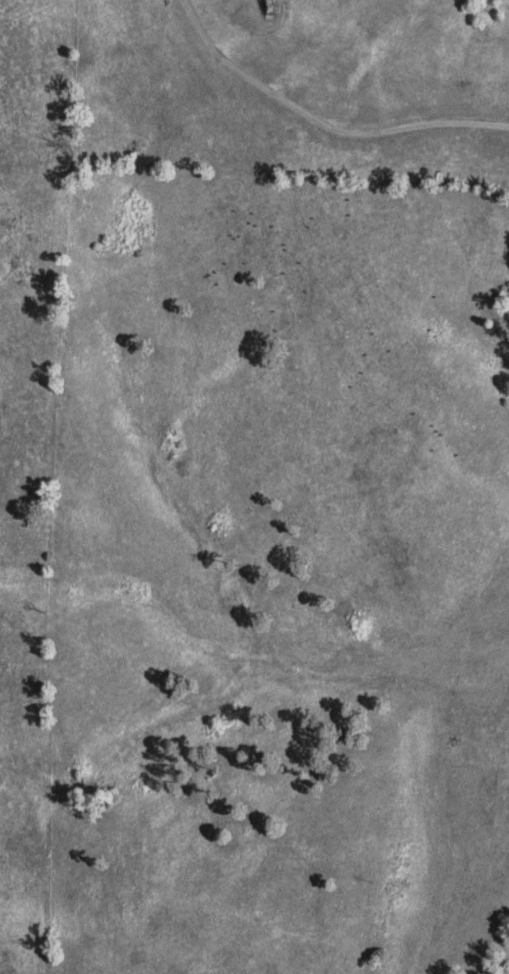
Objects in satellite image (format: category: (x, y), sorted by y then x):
road: (357, 105)

